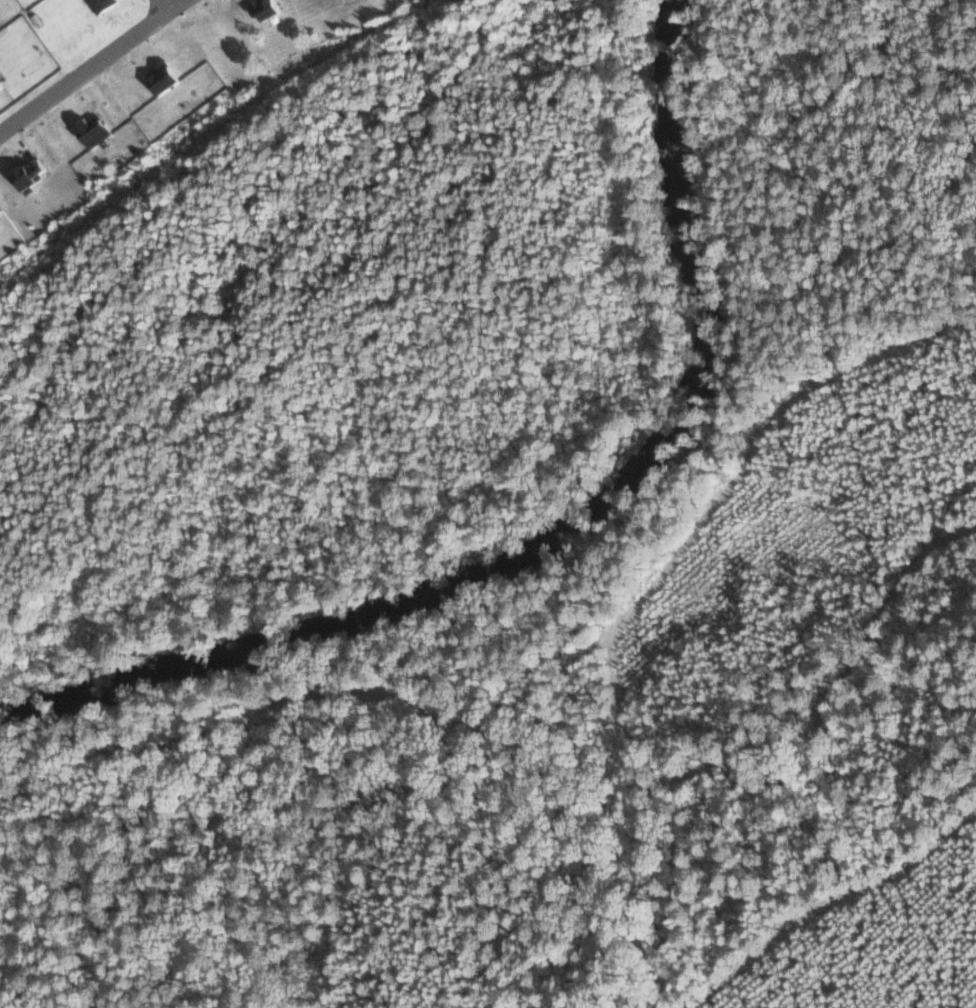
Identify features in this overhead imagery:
building: (103, 4)
building: (269, 8)
road: (78, 61)
building: (167, 78)
building: (2, 83)
building: (97, 128)
building: (34, 171)
river: (571, 556)

